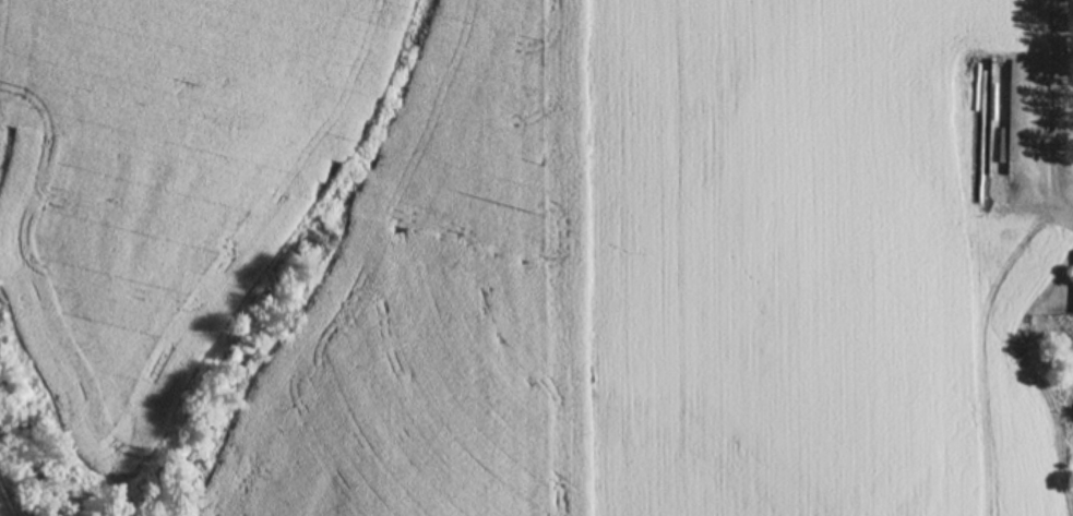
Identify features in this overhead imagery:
building: (998, 109)
road: (1053, 110)

